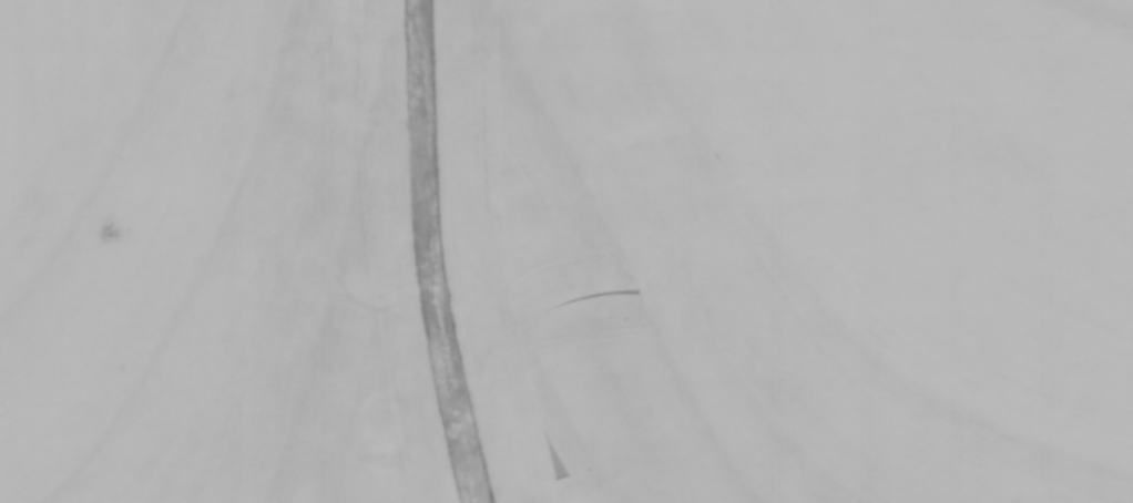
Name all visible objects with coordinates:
crop: (566, 251)

